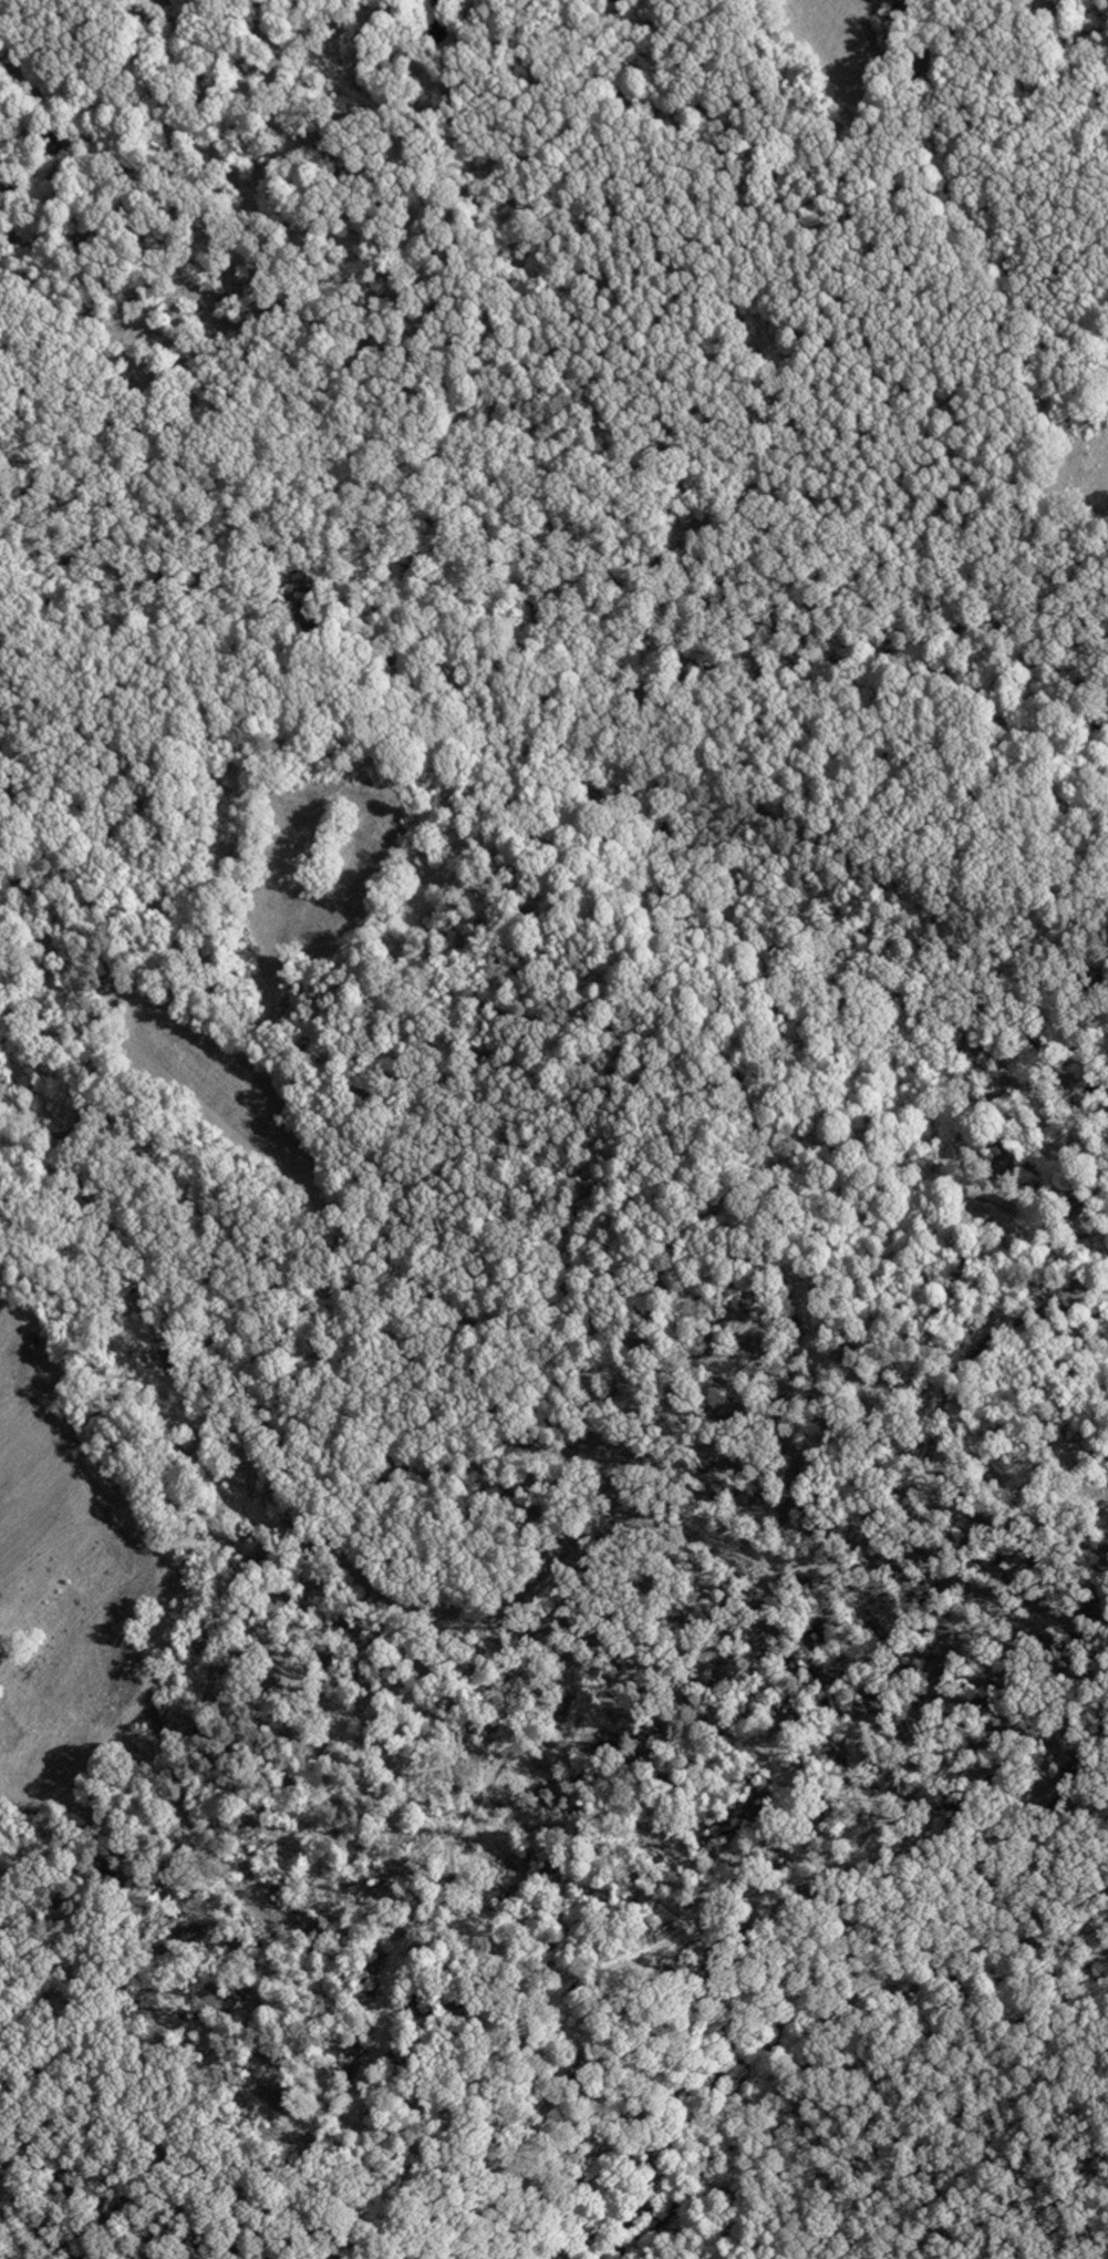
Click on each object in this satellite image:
road: (436, 610)

